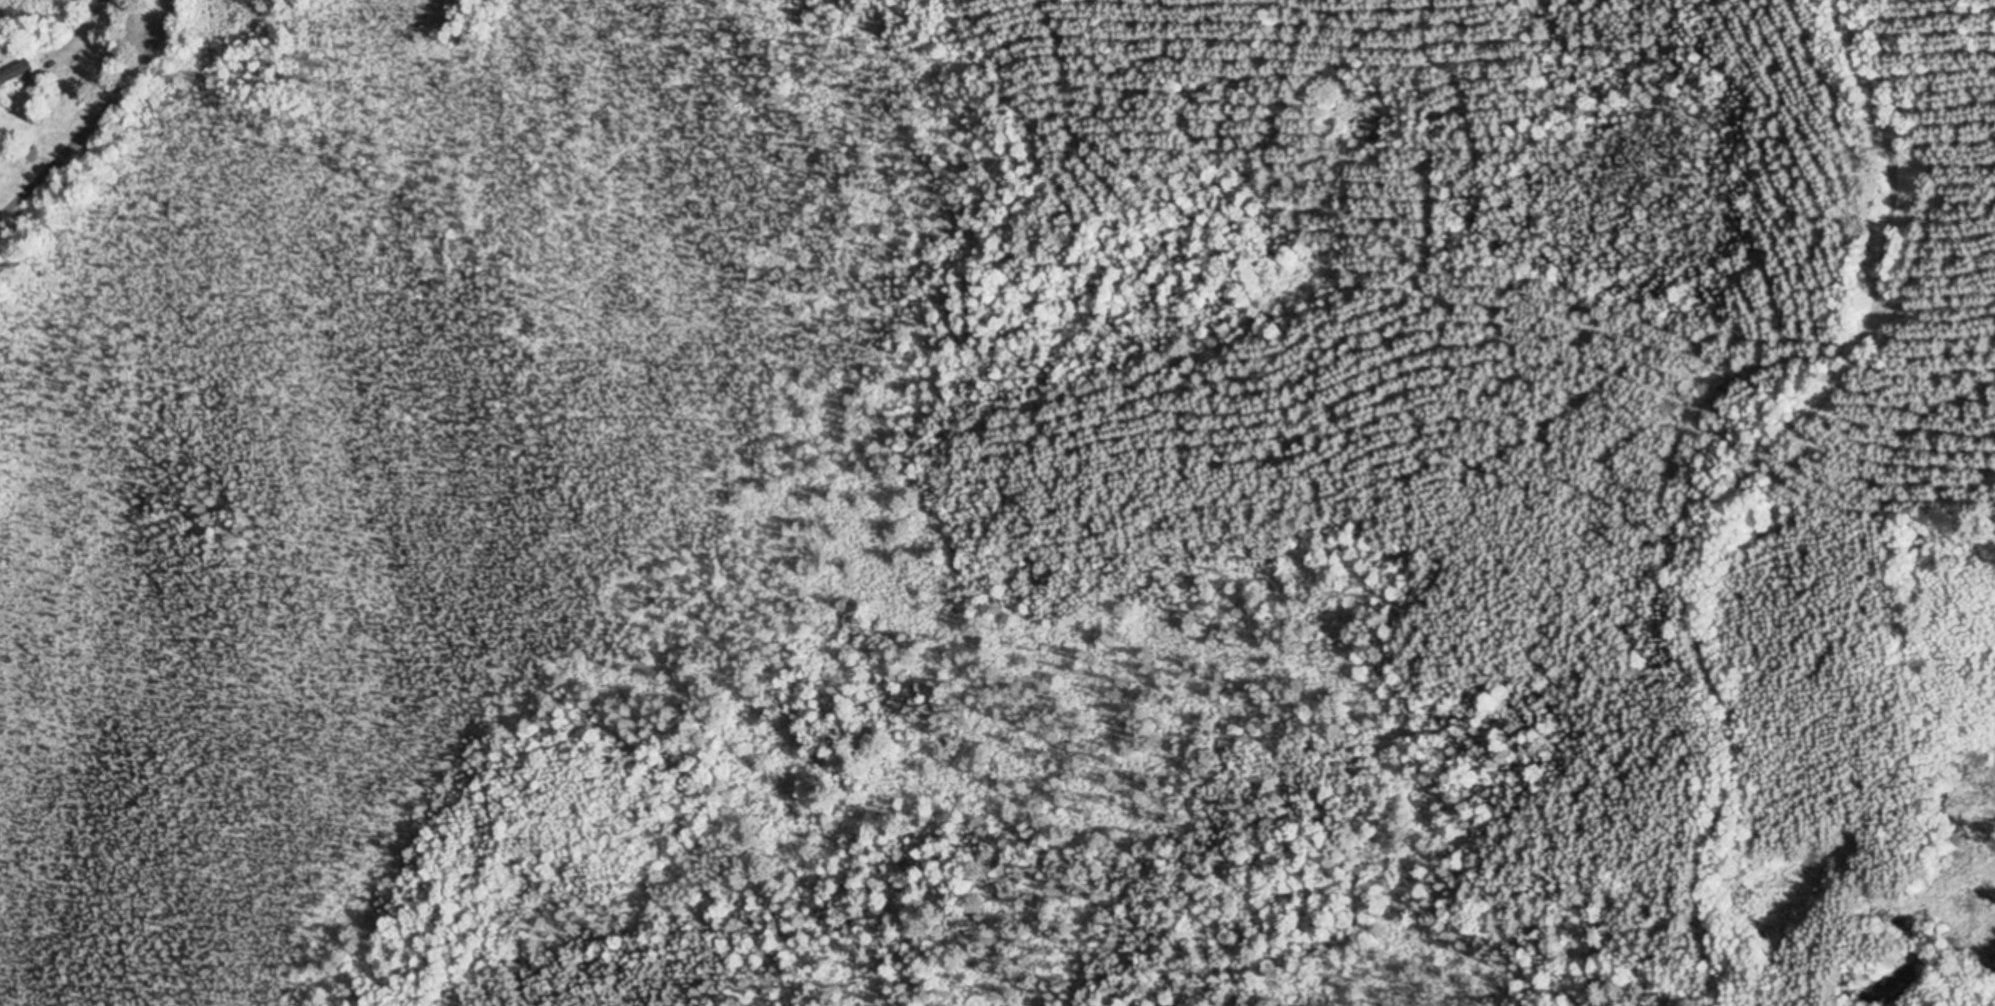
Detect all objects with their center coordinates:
building: (15, 74)

